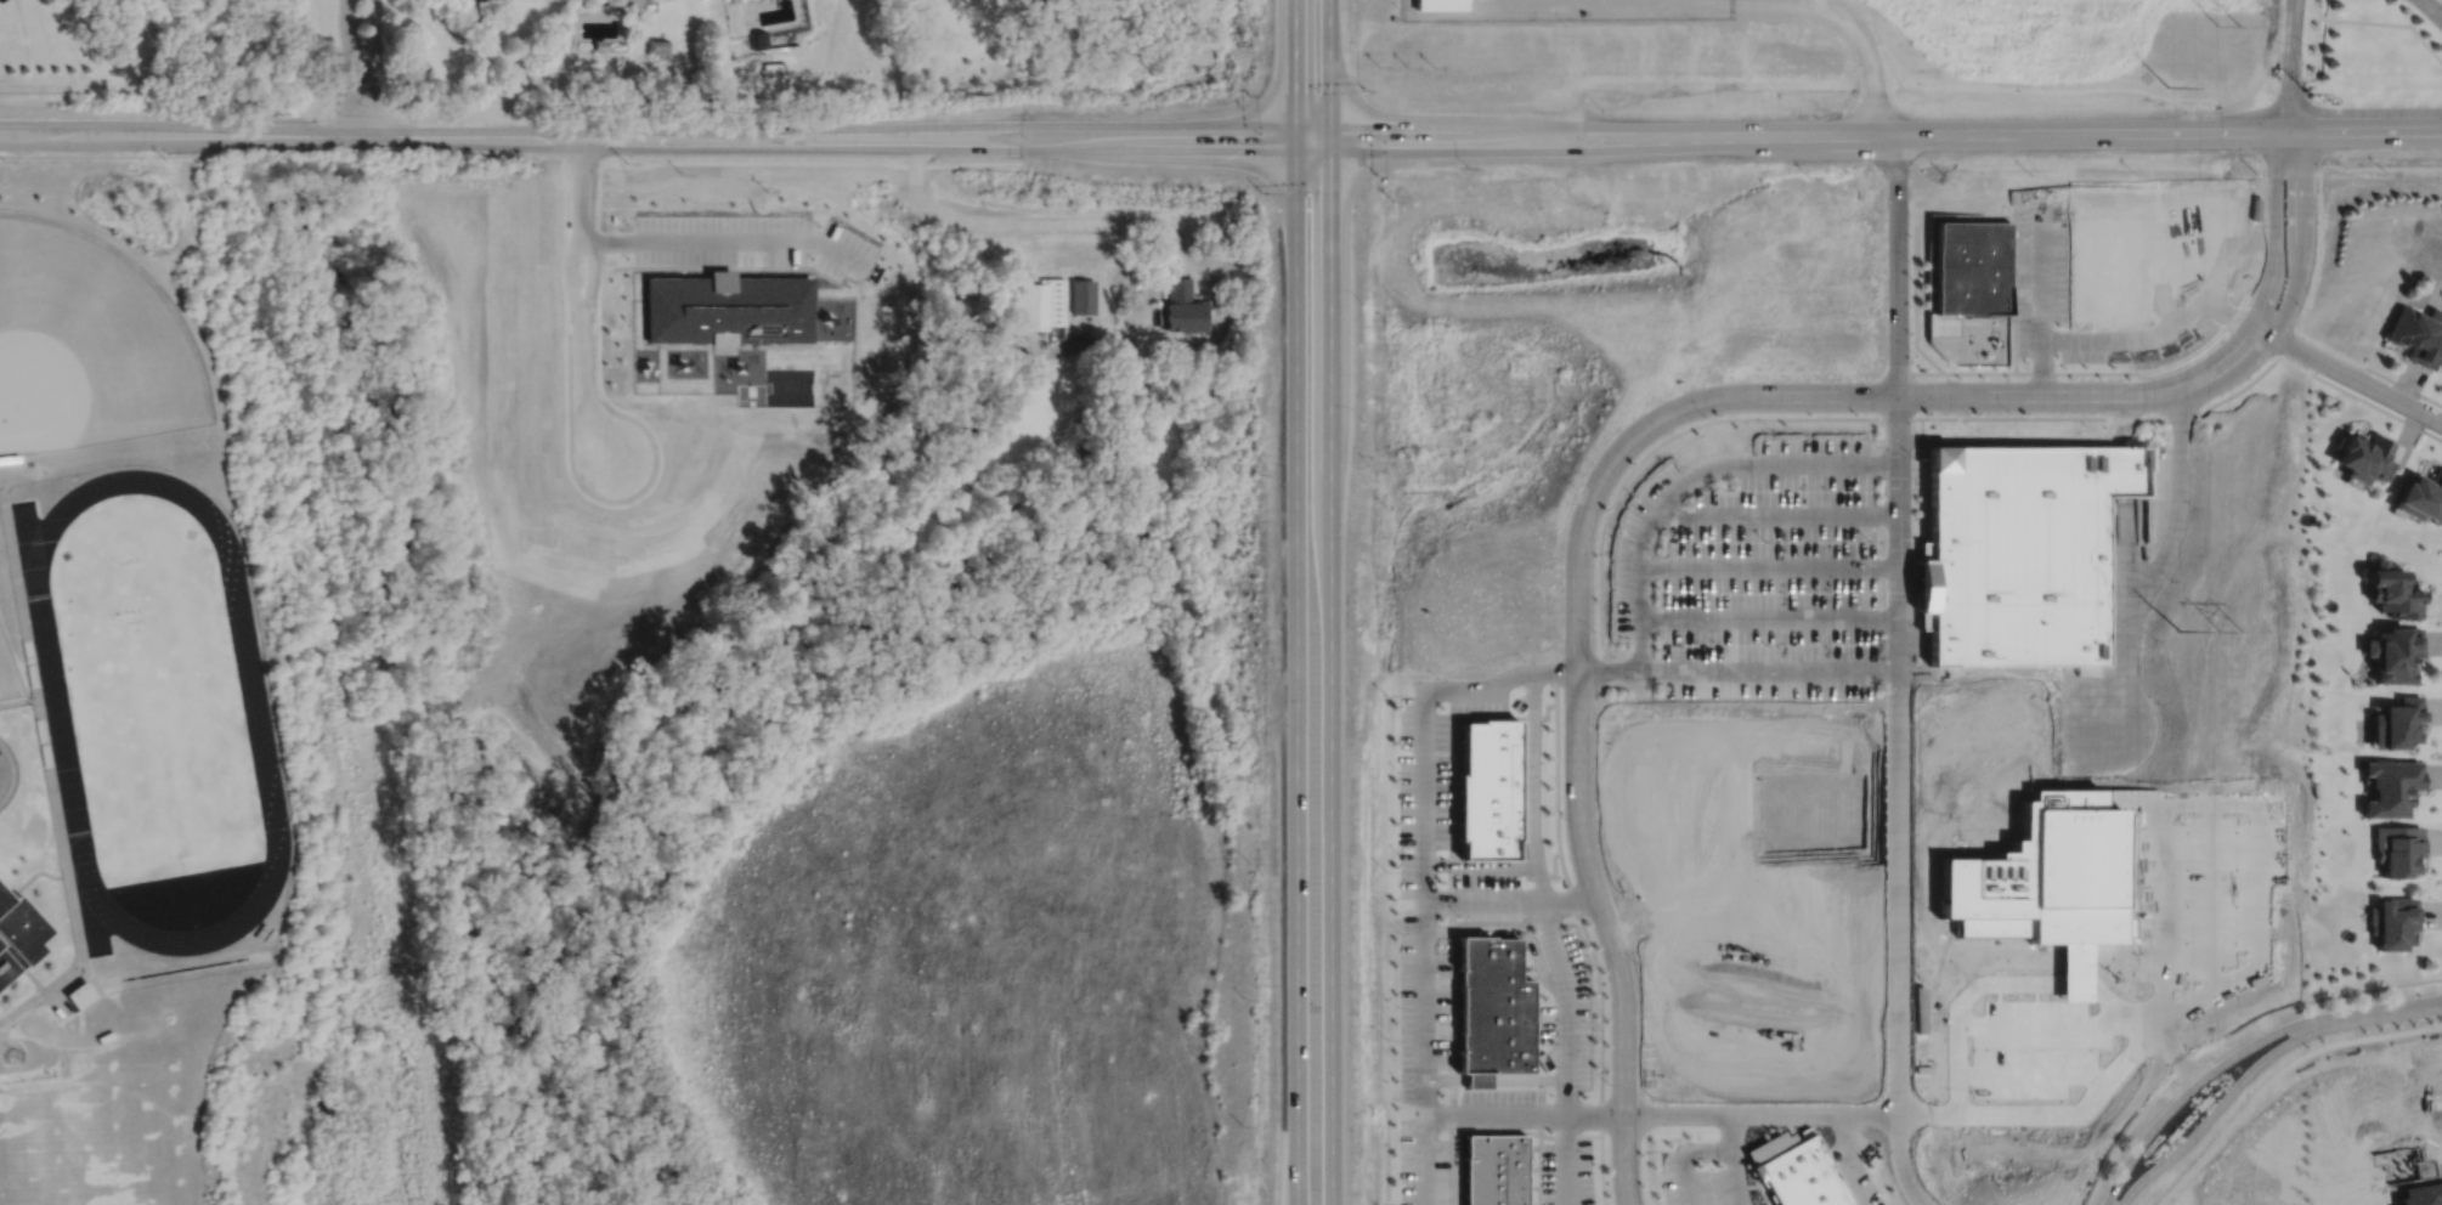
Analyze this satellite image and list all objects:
road: (1712, 2)
road: (1810, 2)
building: (1440, 6)
road: (2323, 9)
road: (2432, 9)
power substation: (1561, 11)
road: (2347, 18)
power tower: (2222, 24)
crop: (2037, 35)
building: (758, 39)
street lamp: (2277, 41)
street lamp: (2302, 43)
building: (599, 44)
building: (657, 49)
road: (1869, 55)
road: (2290, 66)
road: (349, 67)
road: (373, 67)
road: (1293, 75)
road: (1325, 75)
street lamp: (1366, 89)
power tower: (2170, 89)
traffic signals: (1293, 92)
power tower: (2307, 95)
street lamp: (1247, 96)
street lamp: (1144, 107)
road: (1103, 124)
traffic signals: (1360, 125)
road: (1534, 125)
road: (458, 134)
road: (2109, 135)
road: (1103, 151)
traffic signals: (1255, 151)
road: (1533, 151)
road: (102, 155)
street lamp: (1910, 175)
traffic signals: (1325, 186)
road: (1027, 224)
road: (2274, 231)
road: (728, 237)
parking lot: (753, 238)
road: (2300, 239)
road: (1193, 259)
road: (1216, 259)
street lamp: (1910, 259)
road: (1177, 267)
road: (1896, 267)
building: (1973, 268)
building: (1084, 296)
road: (2041, 296)
road: (580, 300)
building: (1039, 304)
building: (1182, 307)
building: (730, 310)
road: (2160, 335)
building: (2416, 335)
road: (1163, 340)
park: (87, 343)
street lamp: (1911, 351)
road: (2352, 358)
road: (2316, 374)
building: (2441, 374)
road: (2350, 375)
street lamp: (2142, 377)
road: (1940, 397)
street lamp: (2420, 397)
street lamp: (2009, 412)
street lamp: (1707, 415)
road: (1896, 419)
street lamp: (1972, 426)
street lamp: (1773, 431)
road: (2028, 441)
street lamp: (1876, 446)
building: (10, 457)
building: (2363, 458)
street lamp: (1683, 465)
road: (1688, 479)
street lamp: (1576, 487)
building: (2421, 498)
road: (2177, 510)
road: (1775, 517)
street lamp: (1677, 541)
street lamp: (1765, 541)
road: (32, 545)
road: (231, 553)
building: (2016, 554)
road: (1898, 555)
road: (2125, 556)
road: (1768, 566)
parking lot: (1758, 576)
building: (1916, 587)
building: (2391, 588)
road: (1768, 618)
power tower: (2228, 629)
power tower: (2176, 630)
street lamp: (1595, 632)
street lamp: (1671, 643)
street lamp: (1765, 643)
building: (2392, 651)
street lamp: (1525, 660)
road: (1768, 672)
road: (19, 673)
road: (1607, 673)
road: (2124, 674)
street lamp: (1437, 677)
road: (1293, 678)
road: (1327, 678)
park: (160, 712)
building: (2395, 722)
street lamp: (1397, 771)
road: (11, 773)
road: (1531, 785)
building: (2389, 786)
building: (1487, 790)
road: (1425, 798)
street lamp: (1561, 816)
road: (1578, 826)
building: (2396, 848)
street lamp: (1397, 853)
road: (1481, 862)
road: (95, 915)
street lamp: (1458, 915)
building: (2391, 921)
building: (21, 929)
street lamp: (1397, 930)
road: (1509, 930)
road: (1898, 941)
crop: (962, 954)
street lamp: (1635, 962)
building: (79, 994)
road: (1566, 1003)
street lamp: (1397, 1006)
road: (1425, 1006)
street lamp: (2325, 1008)
road: (2395, 1008)
building: (1493, 1011)
road: (2226, 1036)
road: (2126, 1054)
road: (2203, 1077)
road: (1496, 1079)
street lamp: (1397, 1080)
street lamp: (1607, 1084)
road: (2226, 1098)
road: (1477, 1113)
road: (1759, 1114)
park: (87, 1144)
road: (1685, 1153)
street lamp: (1398, 1156)
road: (1566, 1159)
road: (1842, 1159)
road: (1732, 1160)
street lamp: (1593, 1164)
street lamp: (1712, 1169)
building: (1493, 1170)
building: (1754, 1173)
building: (1801, 1176)
street lamp: (2109, 1182)

